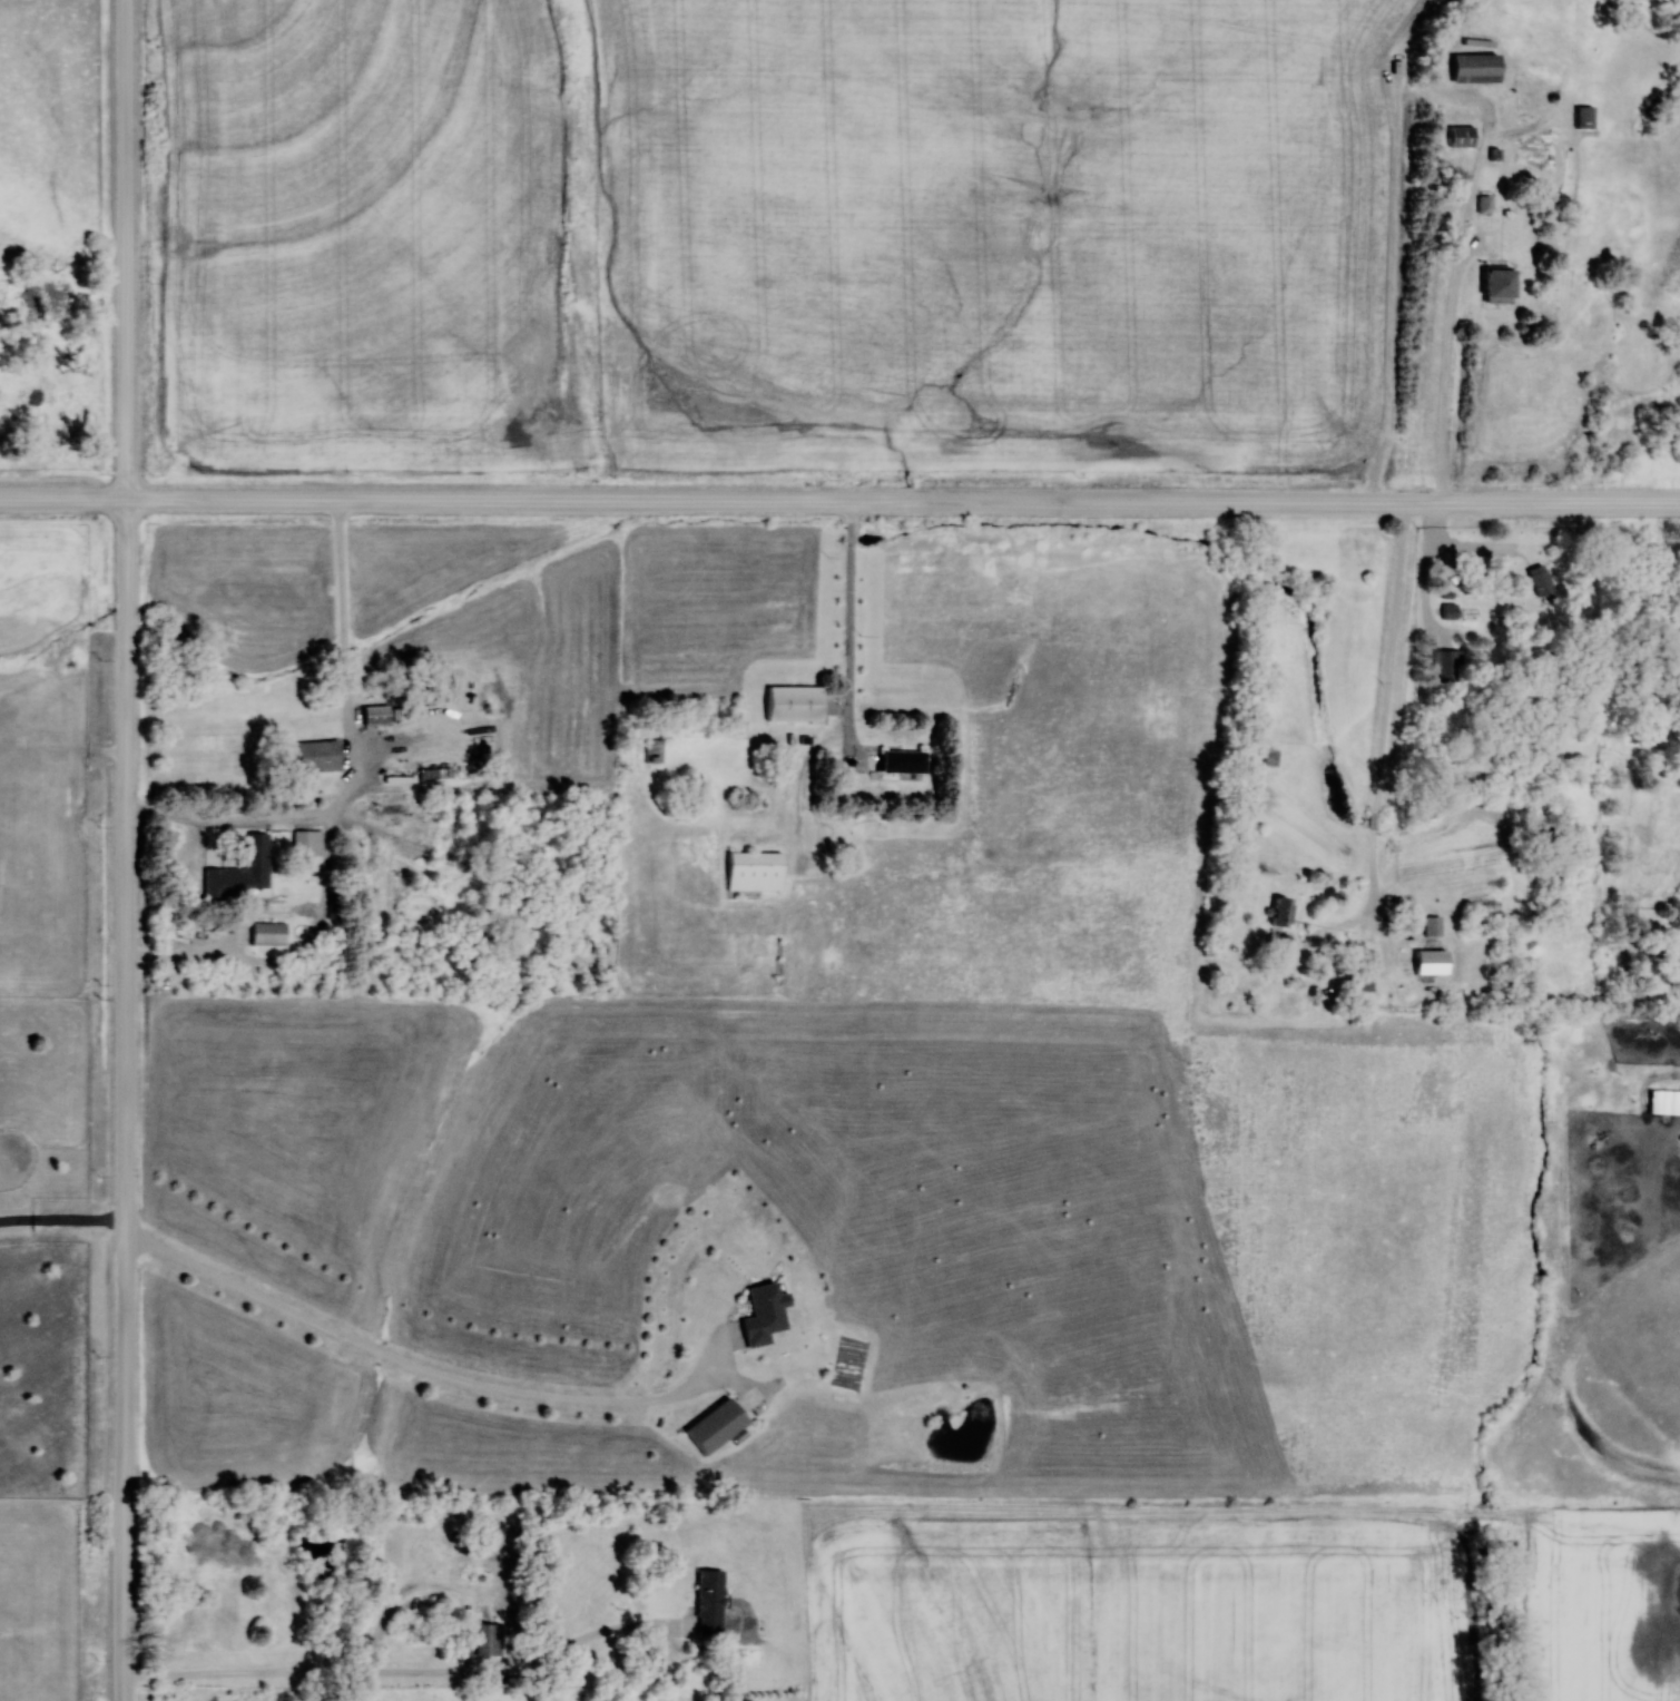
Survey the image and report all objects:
building: (1477, 68)
road: (1440, 92)
building: (1584, 117)
building: (1462, 137)
building: (1485, 205)
road: (125, 249)
building: (1501, 285)
road: (62, 499)
road: (903, 501)
road: (1457, 547)
building: (1451, 610)
road: (849, 623)
building: (1448, 666)
building: (795, 704)
building: (400, 714)
building: (375, 716)
building: (654, 751)
building: (312, 756)
road: (360, 763)
building: (904, 763)
building: (435, 774)
road: (1375, 810)
building: (306, 842)
building: (254, 862)
building: (756, 871)
building: (1283, 912)
building: (1433, 925)
building: (268, 934)
road: (288, 960)
building: (1432, 962)
road: (124, 1100)
road: (61, 1220)
building: (765, 1312)
road: (411, 1365)
building: (717, 1425)
building: (709, 1602)
building: (487, 1639)
road: (403, 1673)

